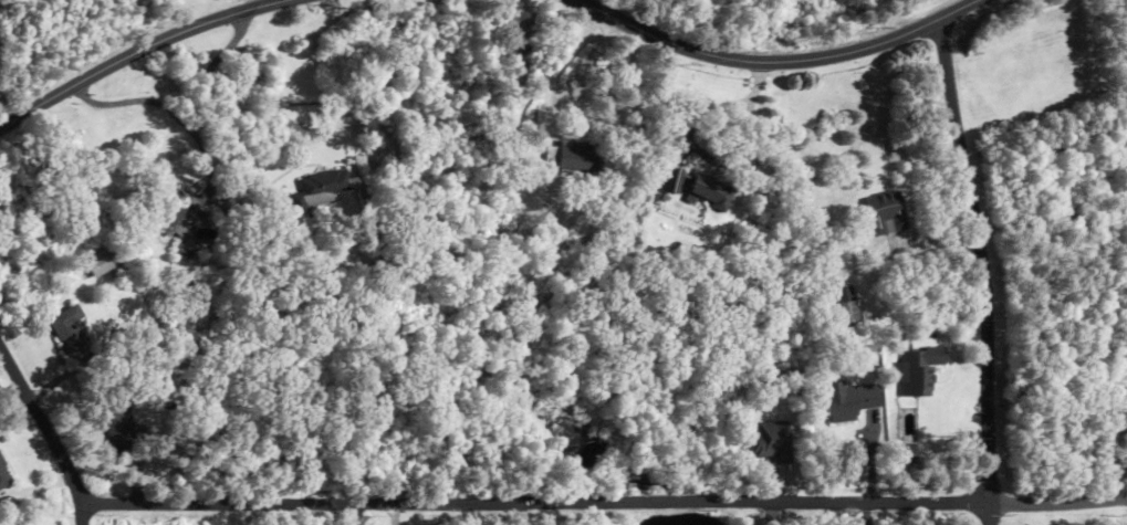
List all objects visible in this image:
road: (262, 3)
road: (139, 52)
road: (779, 60)
road: (550, 75)
road: (216, 113)
building: (572, 156)
building: (671, 180)
building: (701, 187)
building: (315, 190)
building: (176, 213)
building: (884, 213)
building: (102, 259)
road: (983, 261)
building: (841, 312)
building: (73, 332)
building: (917, 371)
building: (849, 398)
building: (122, 426)
road: (49, 430)
building: (771, 441)
building: (4, 475)
road: (1058, 503)
road: (539, 504)
road: (990, 514)

